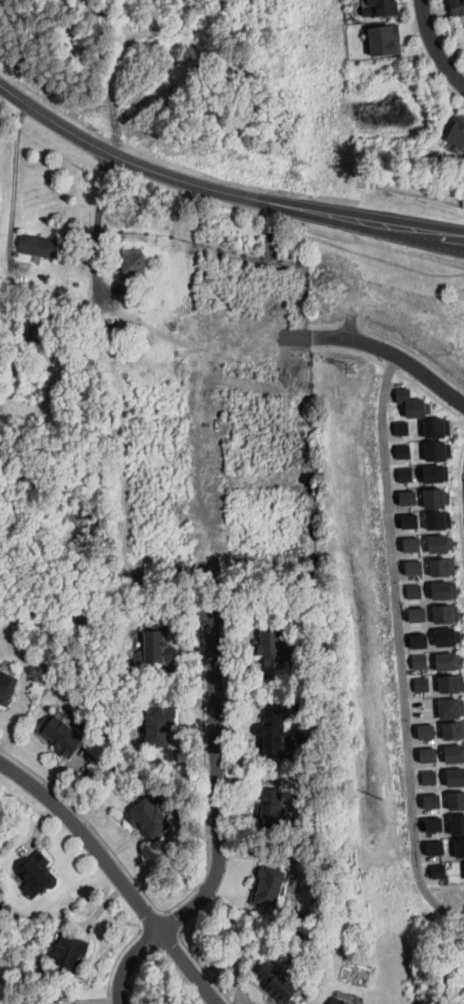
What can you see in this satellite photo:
building: (378, 7)
building: (457, 7)
road: (442, 36)
building: (381, 38)
road: (434, 46)
road: (426, 55)
building: (454, 132)
road: (15, 177)
road: (221, 189)
road: (410, 194)
road: (97, 223)
building: (39, 247)
road: (384, 259)
building: (133, 266)
building: (73, 301)
building: (8, 303)
road: (349, 324)
road: (301, 325)
building: (37, 333)
road: (300, 338)
road: (224, 344)
building: (114, 346)
power tower: (350, 371)
building: (413, 401)
road: (463, 415)
building: (438, 426)
building: (404, 427)
building: (406, 452)
building: (440, 452)
building: (438, 474)
building: (408, 475)
building: (410, 498)
building: (438, 499)
road: (459, 499)
building: (441, 521)
building: (413, 522)
building: (442, 545)
building: (413, 546)
building: (417, 566)
building: (445, 567)
building: (417, 590)
building: (447, 591)
building: (448, 612)
building: (420, 613)
building: (450, 636)
building: (421, 642)
road: (399, 647)
building: (157, 648)
building: (270, 649)
building: (451, 659)
building: (422, 662)
building: (452, 684)
building: (424, 685)
road: (212, 686)
building: (7, 687)
building: (452, 708)
road: (205, 712)
building: (160, 727)
building: (456, 731)
building: (284, 732)
building: (430, 732)
building: (272, 734)
building: (61, 735)
building: (432, 755)
building: (457, 755)
power tower: (379, 767)
building: (433, 778)
building: (458, 778)
building: (459, 801)
building: (435, 802)
building: (272, 809)
building: (149, 819)
building: (436, 824)
building: (458, 825)
building: (439, 848)
building: (460, 849)
building: (442, 871)
building: (39, 873)
road: (117, 874)
building: (269, 887)
road: (122, 951)
building: (70, 952)
road: (198, 958)
building: (279, 982)
building: (341, 1001)

